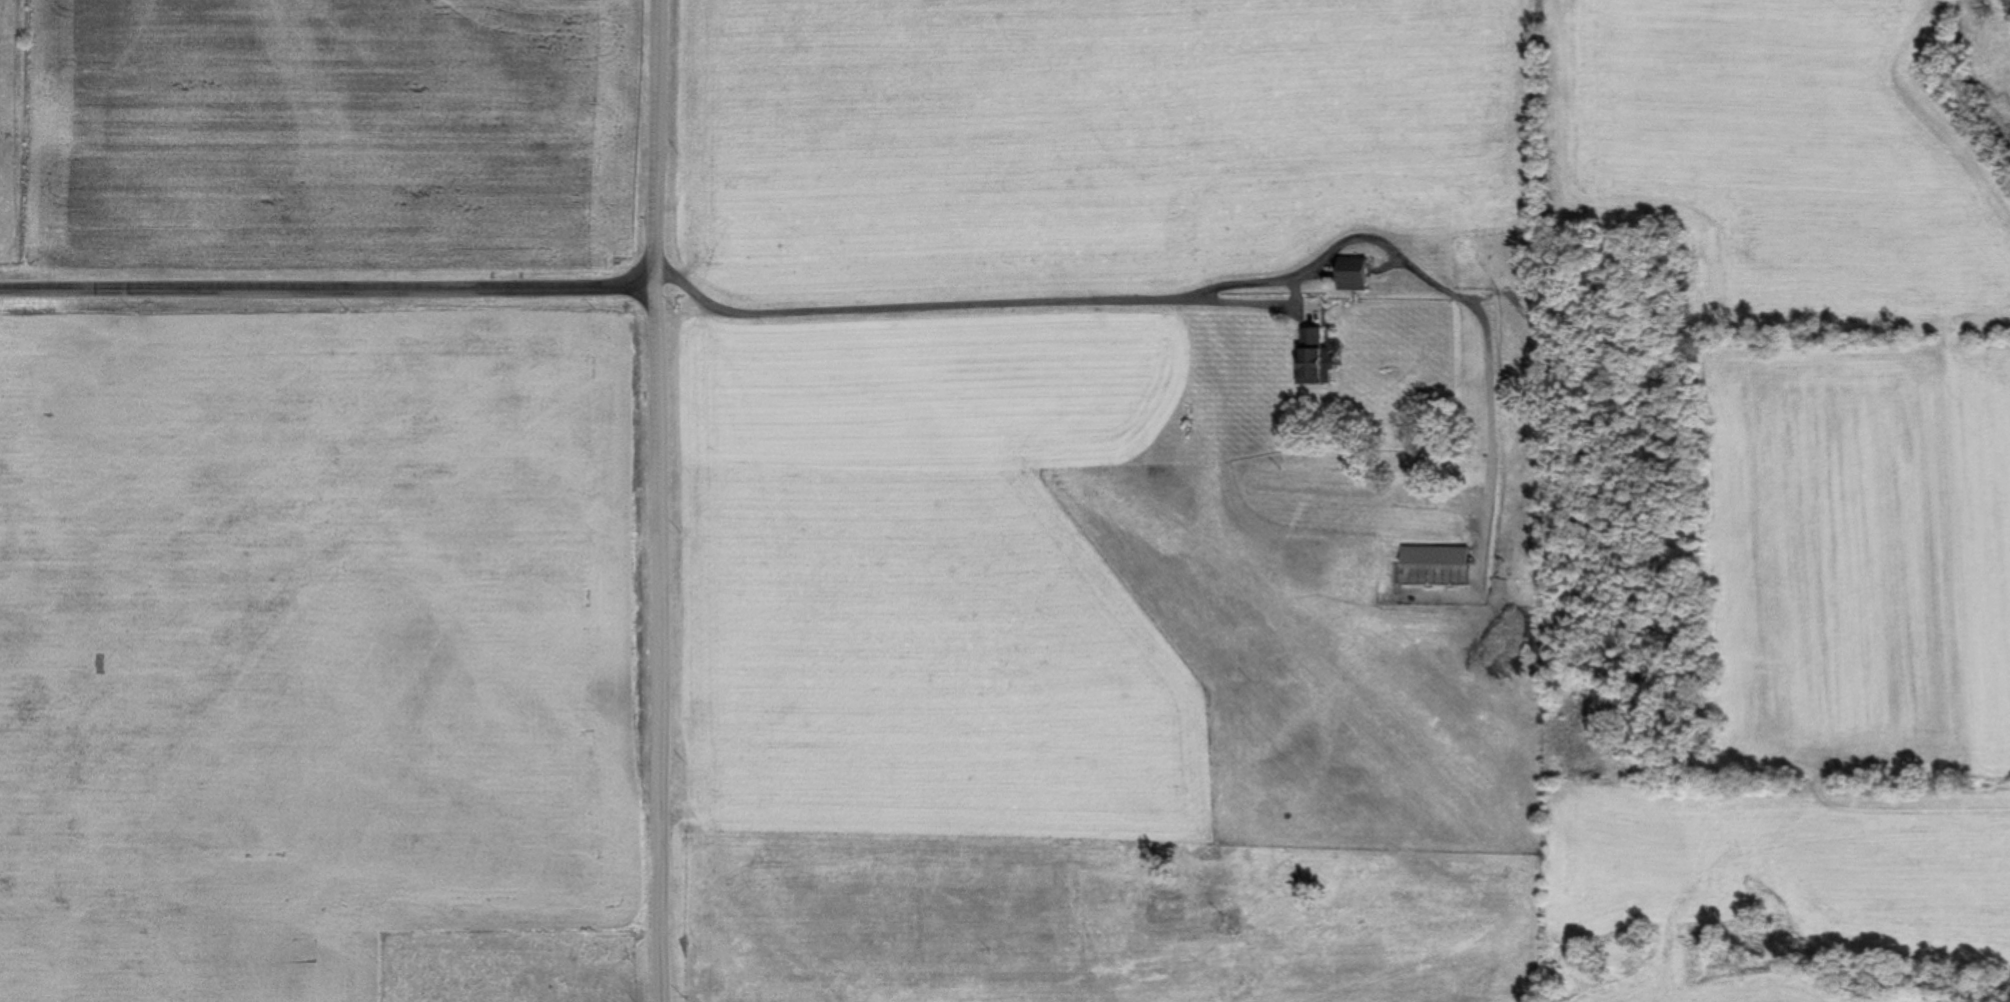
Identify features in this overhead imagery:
building: (1357, 275)
road: (329, 287)
road: (1178, 300)
building: (1316, 357)
road: (661, 501)
building: (1439, 558)

